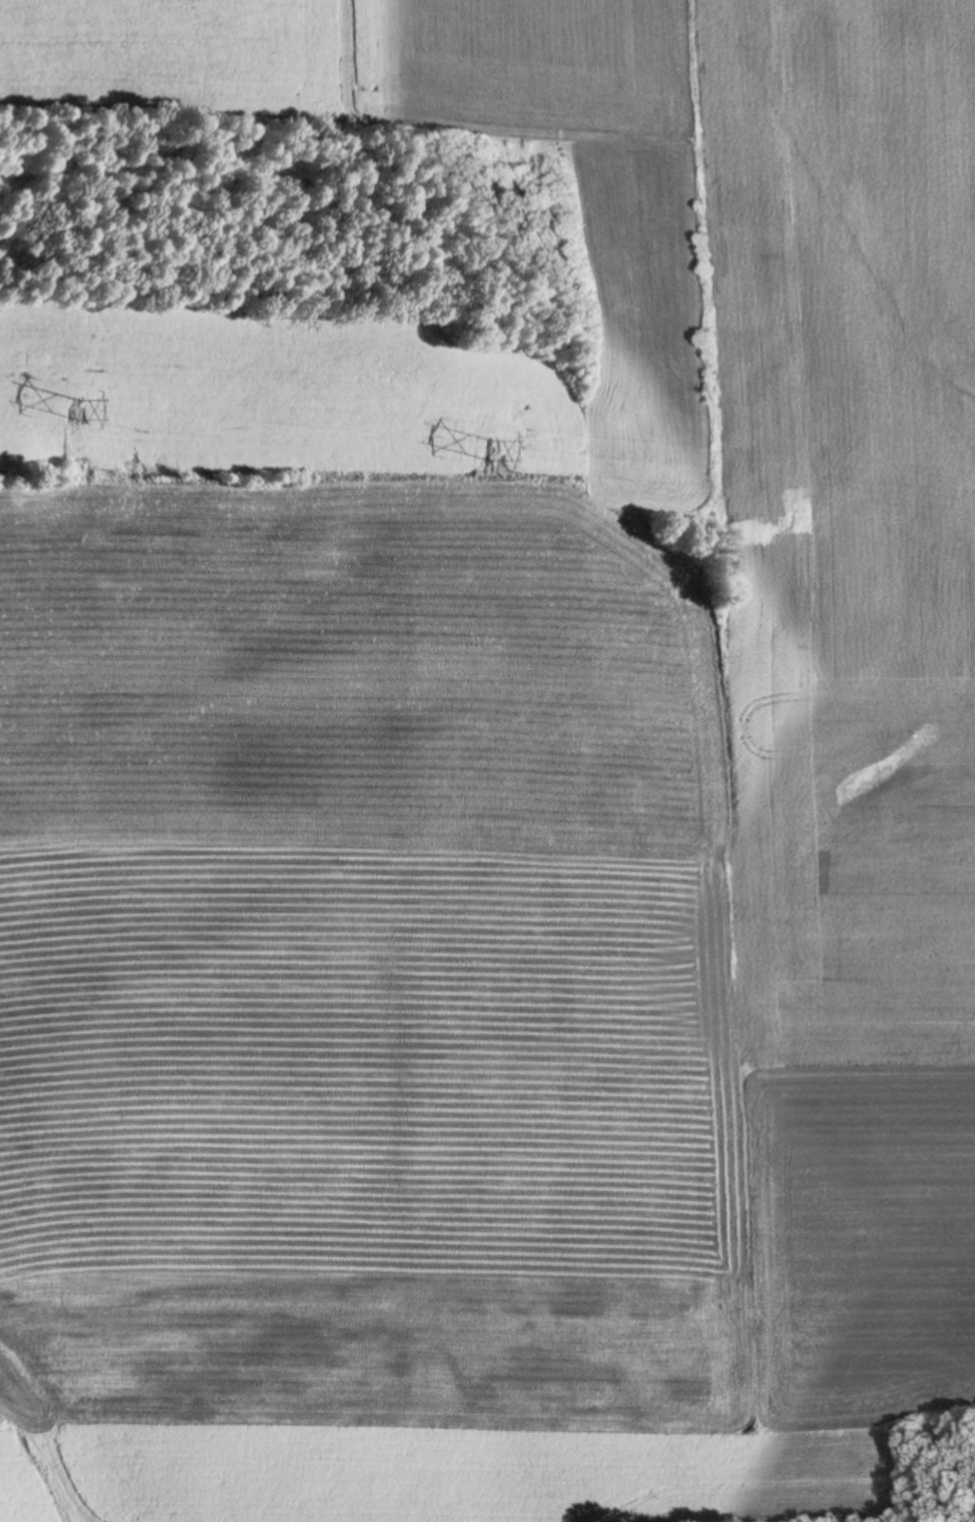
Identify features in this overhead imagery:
power tower: (81, 411)
power tower: (488, 453)

